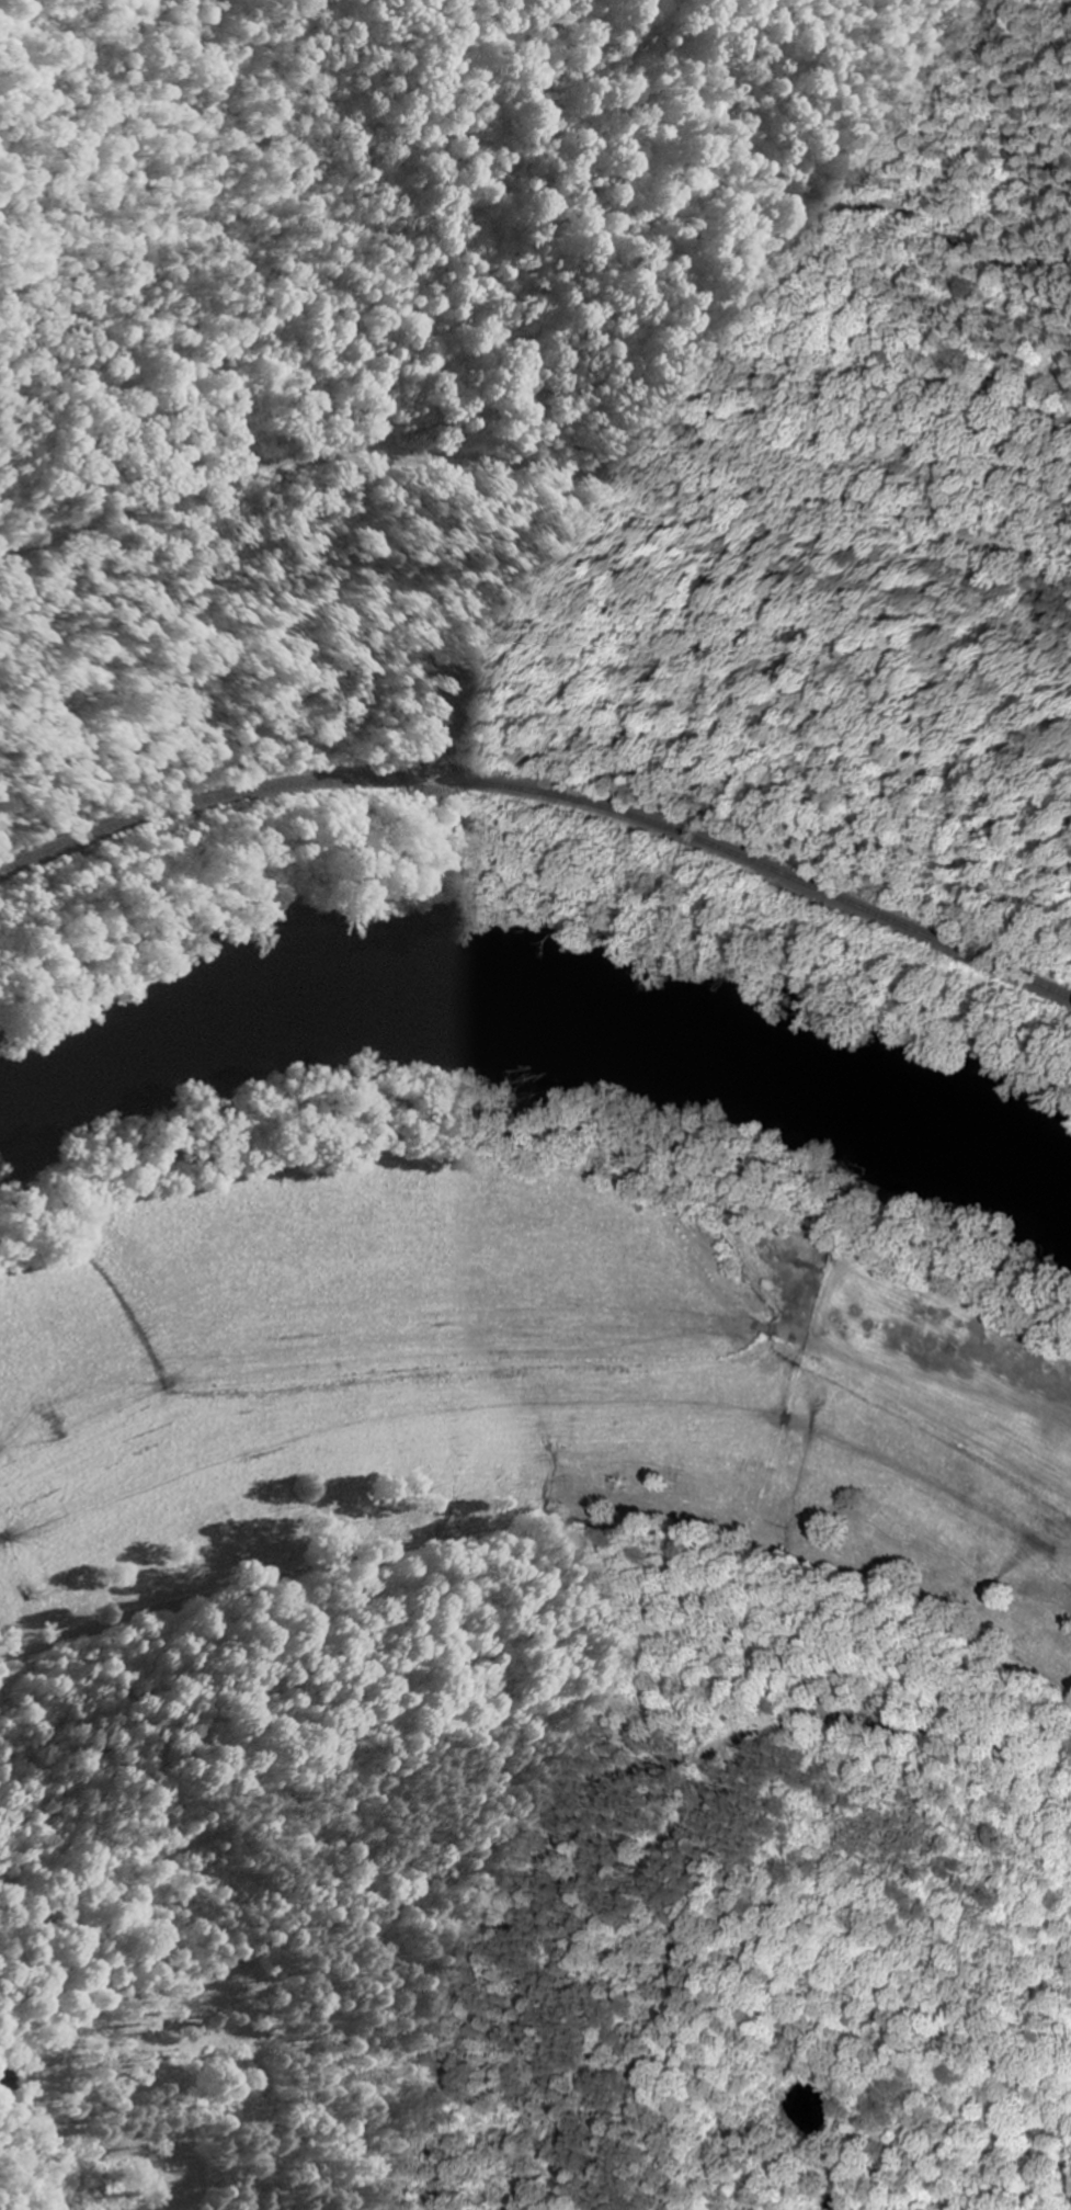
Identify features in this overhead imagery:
road: (619, 197)
road: (531, 465)
railway: (540, 781)
river: (545, 1008)
road: (547, 1540)

